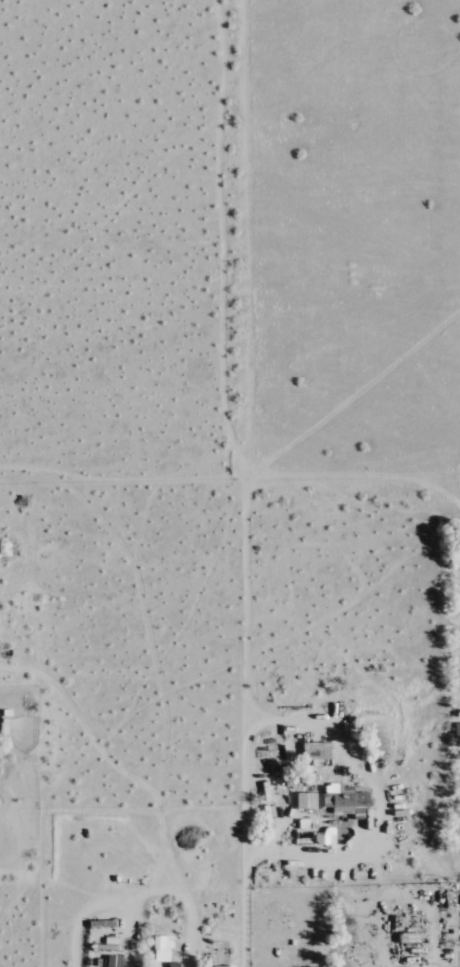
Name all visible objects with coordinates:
road: (247, 360)
building: (457, 731)
building: (306, 801)
building: (346, 801)
road: (245, 844)
building: (162, 948)
building: (113, 962)

